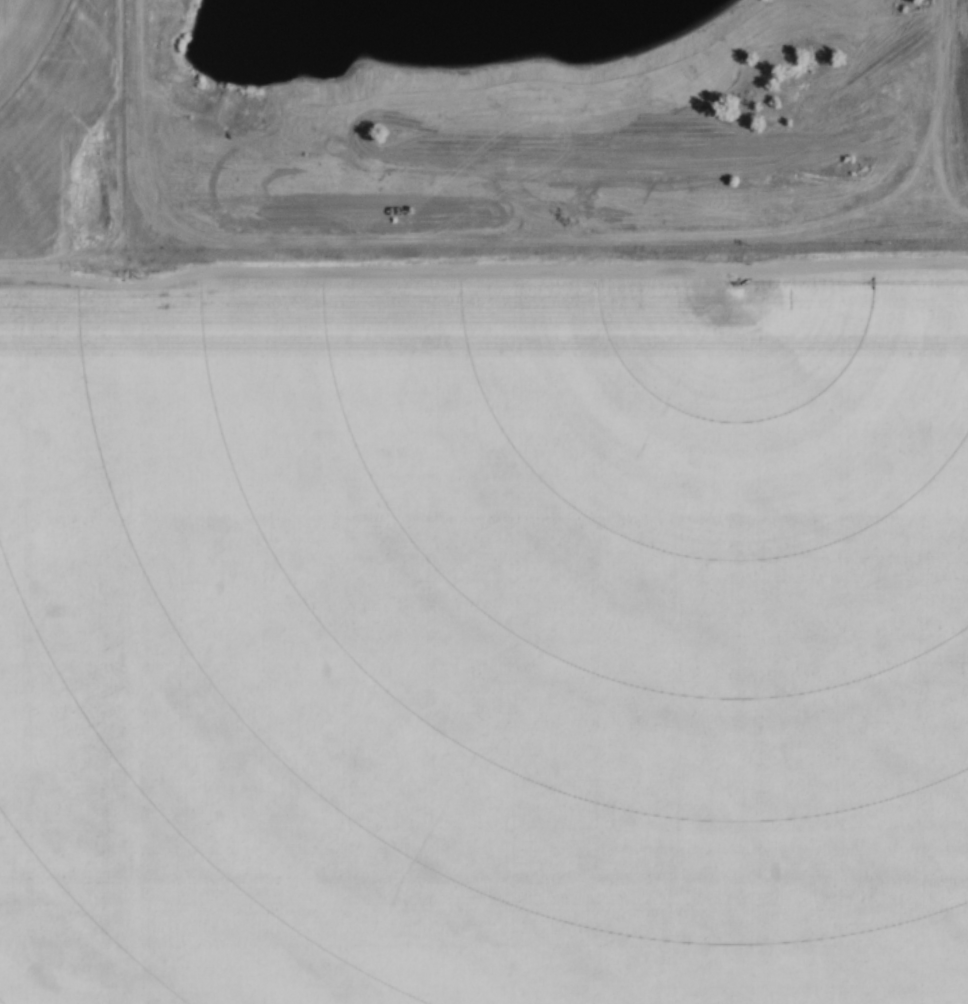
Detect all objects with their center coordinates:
road: (518, 236)

